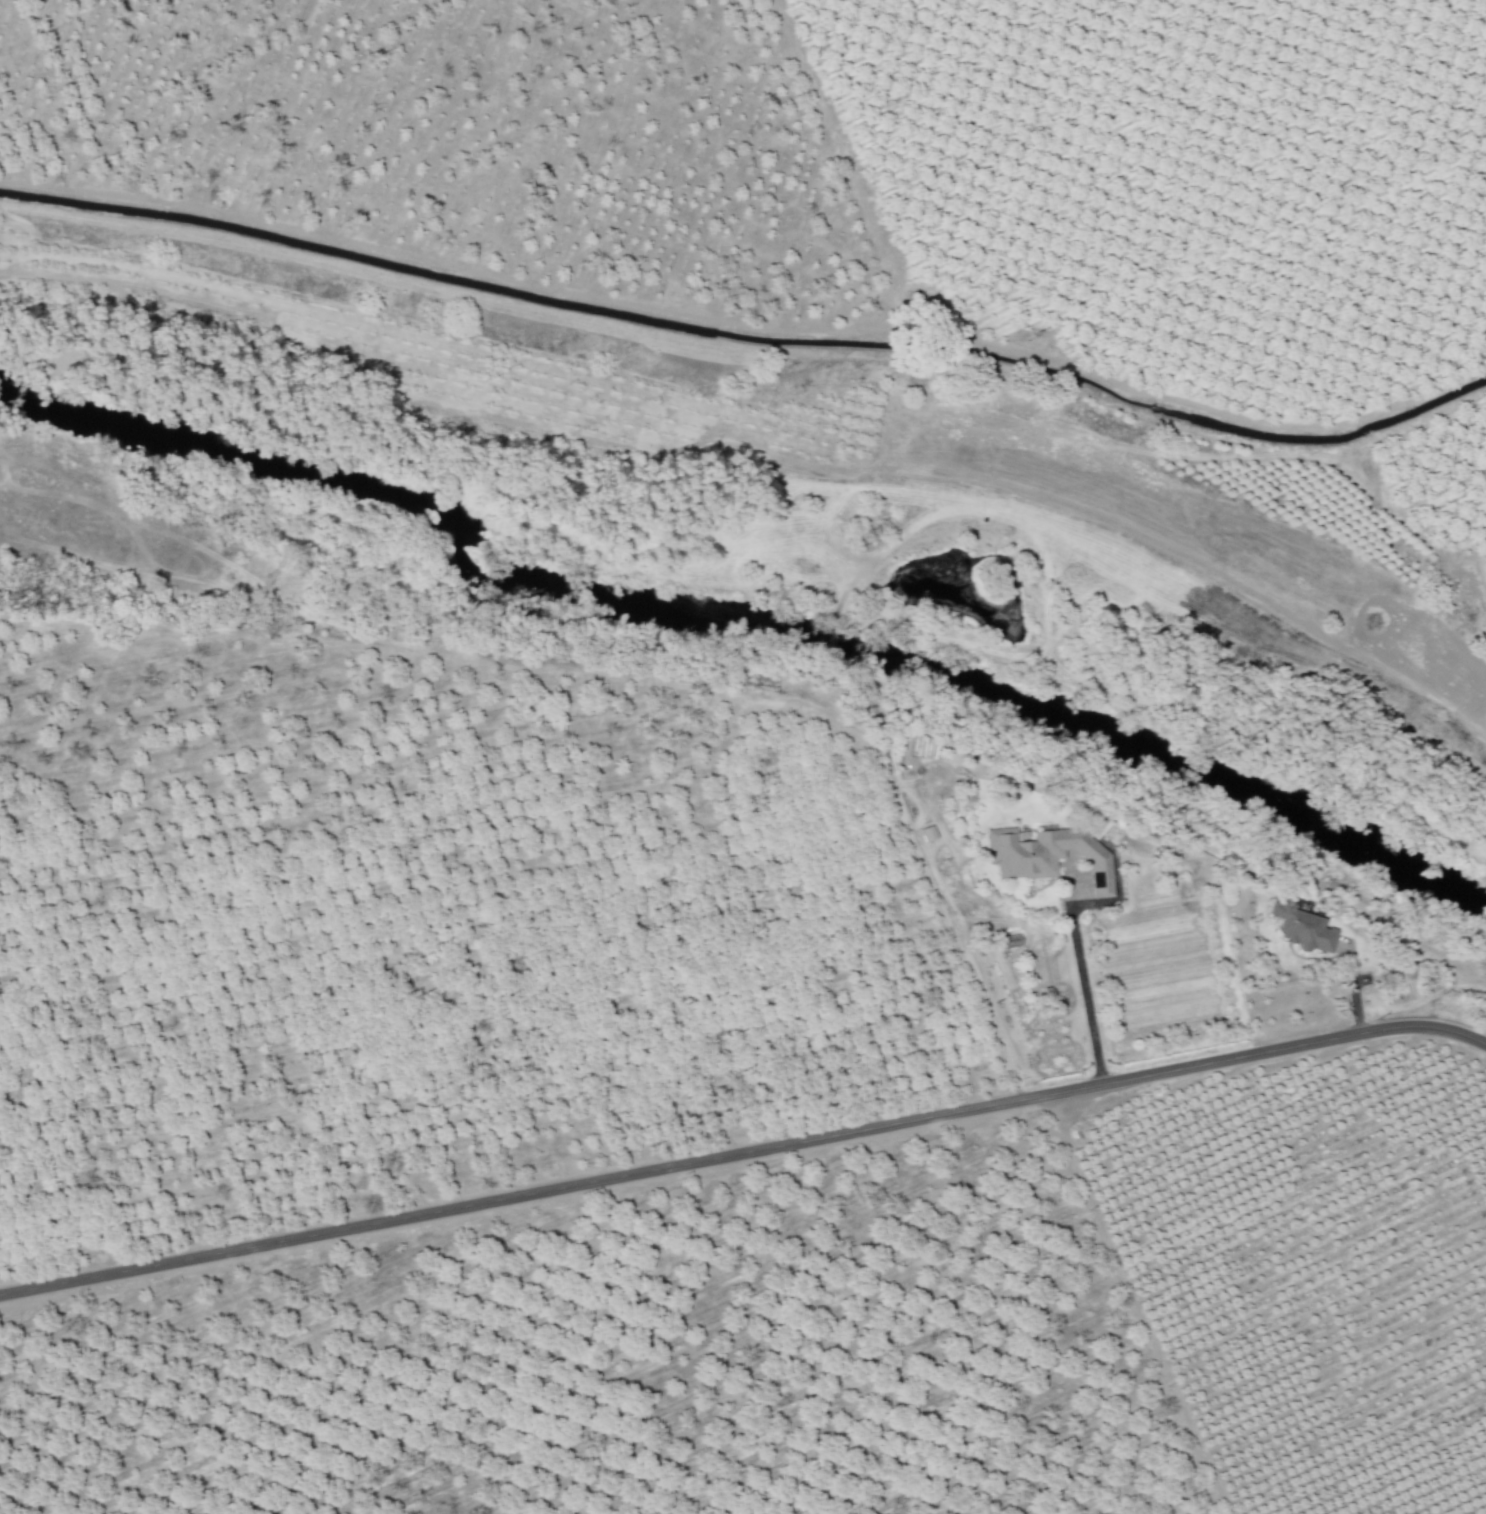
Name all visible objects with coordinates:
river: (742, 634)
road: (1390, 791)
building: (1051, 857)
building: (1305, 927)
road: (1084, 989)
road: (744, 1151)

